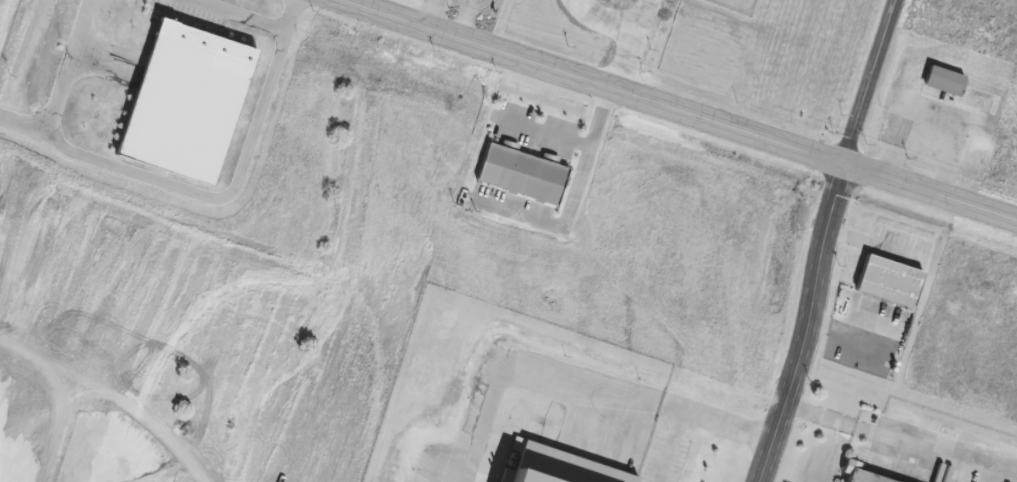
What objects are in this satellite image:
road: (429, 13)
road: (250, 21)
building: (943, 80)
road: (61, 84)
road: (678, 111)
road: (541, 131)
building: (521, 173)
road: (217, 199)
road: (571, 202)
road: (827, 240)
building: (887, 281)
road: (901, 441)
building: (858, 476)

